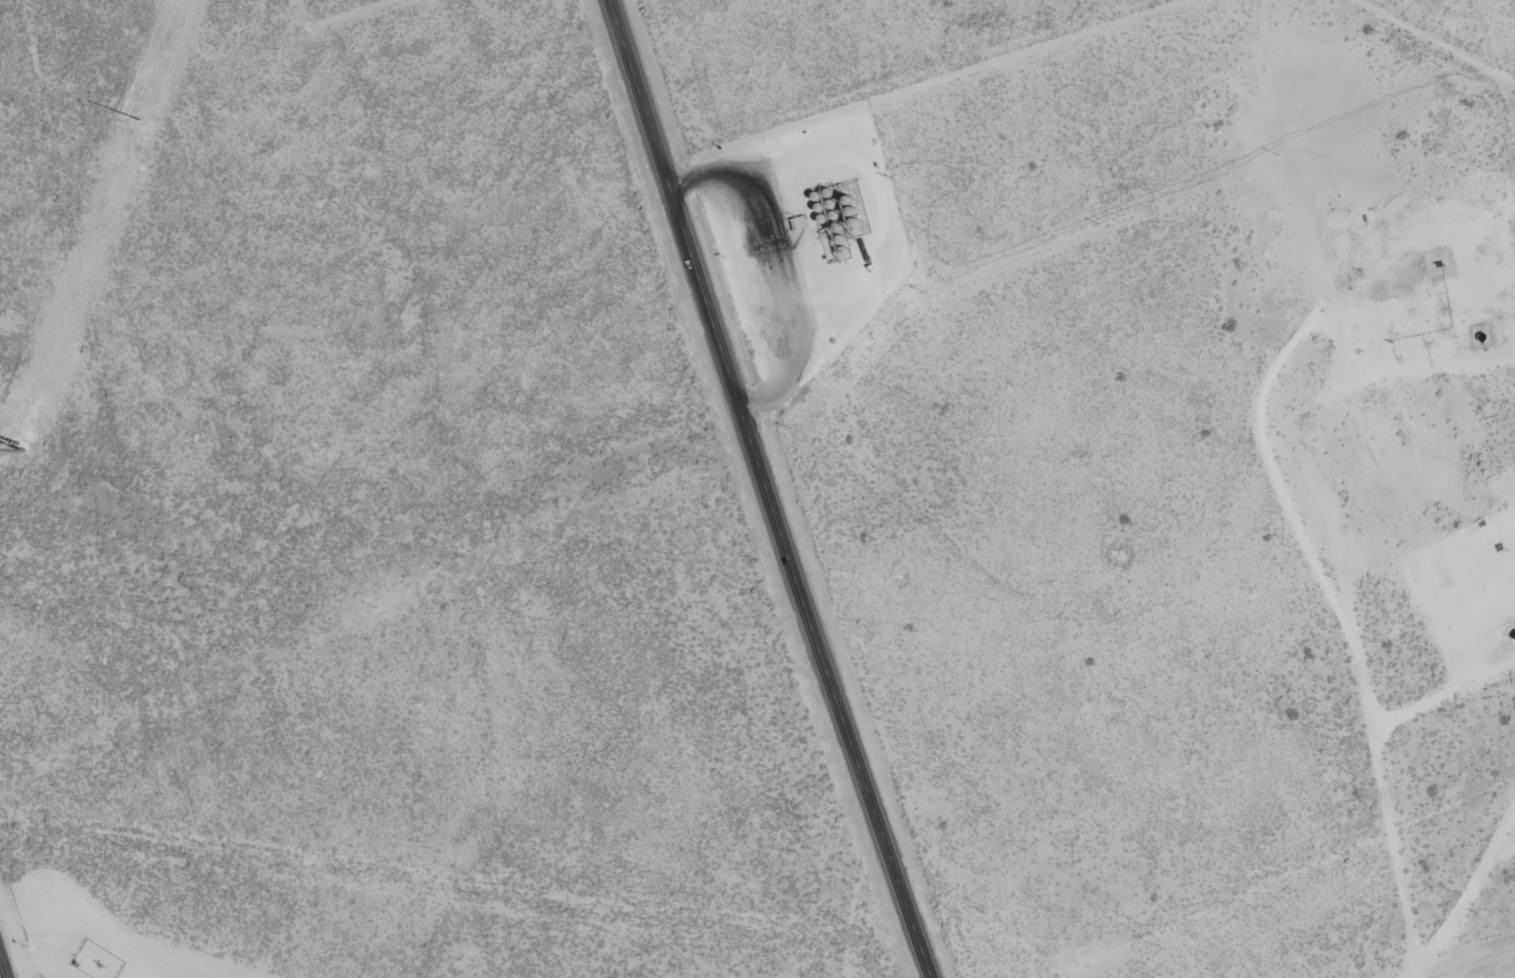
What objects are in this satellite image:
road: (770, 489)
road: (1346, 675)
road: (1464, 891)
road: (4, 965)

